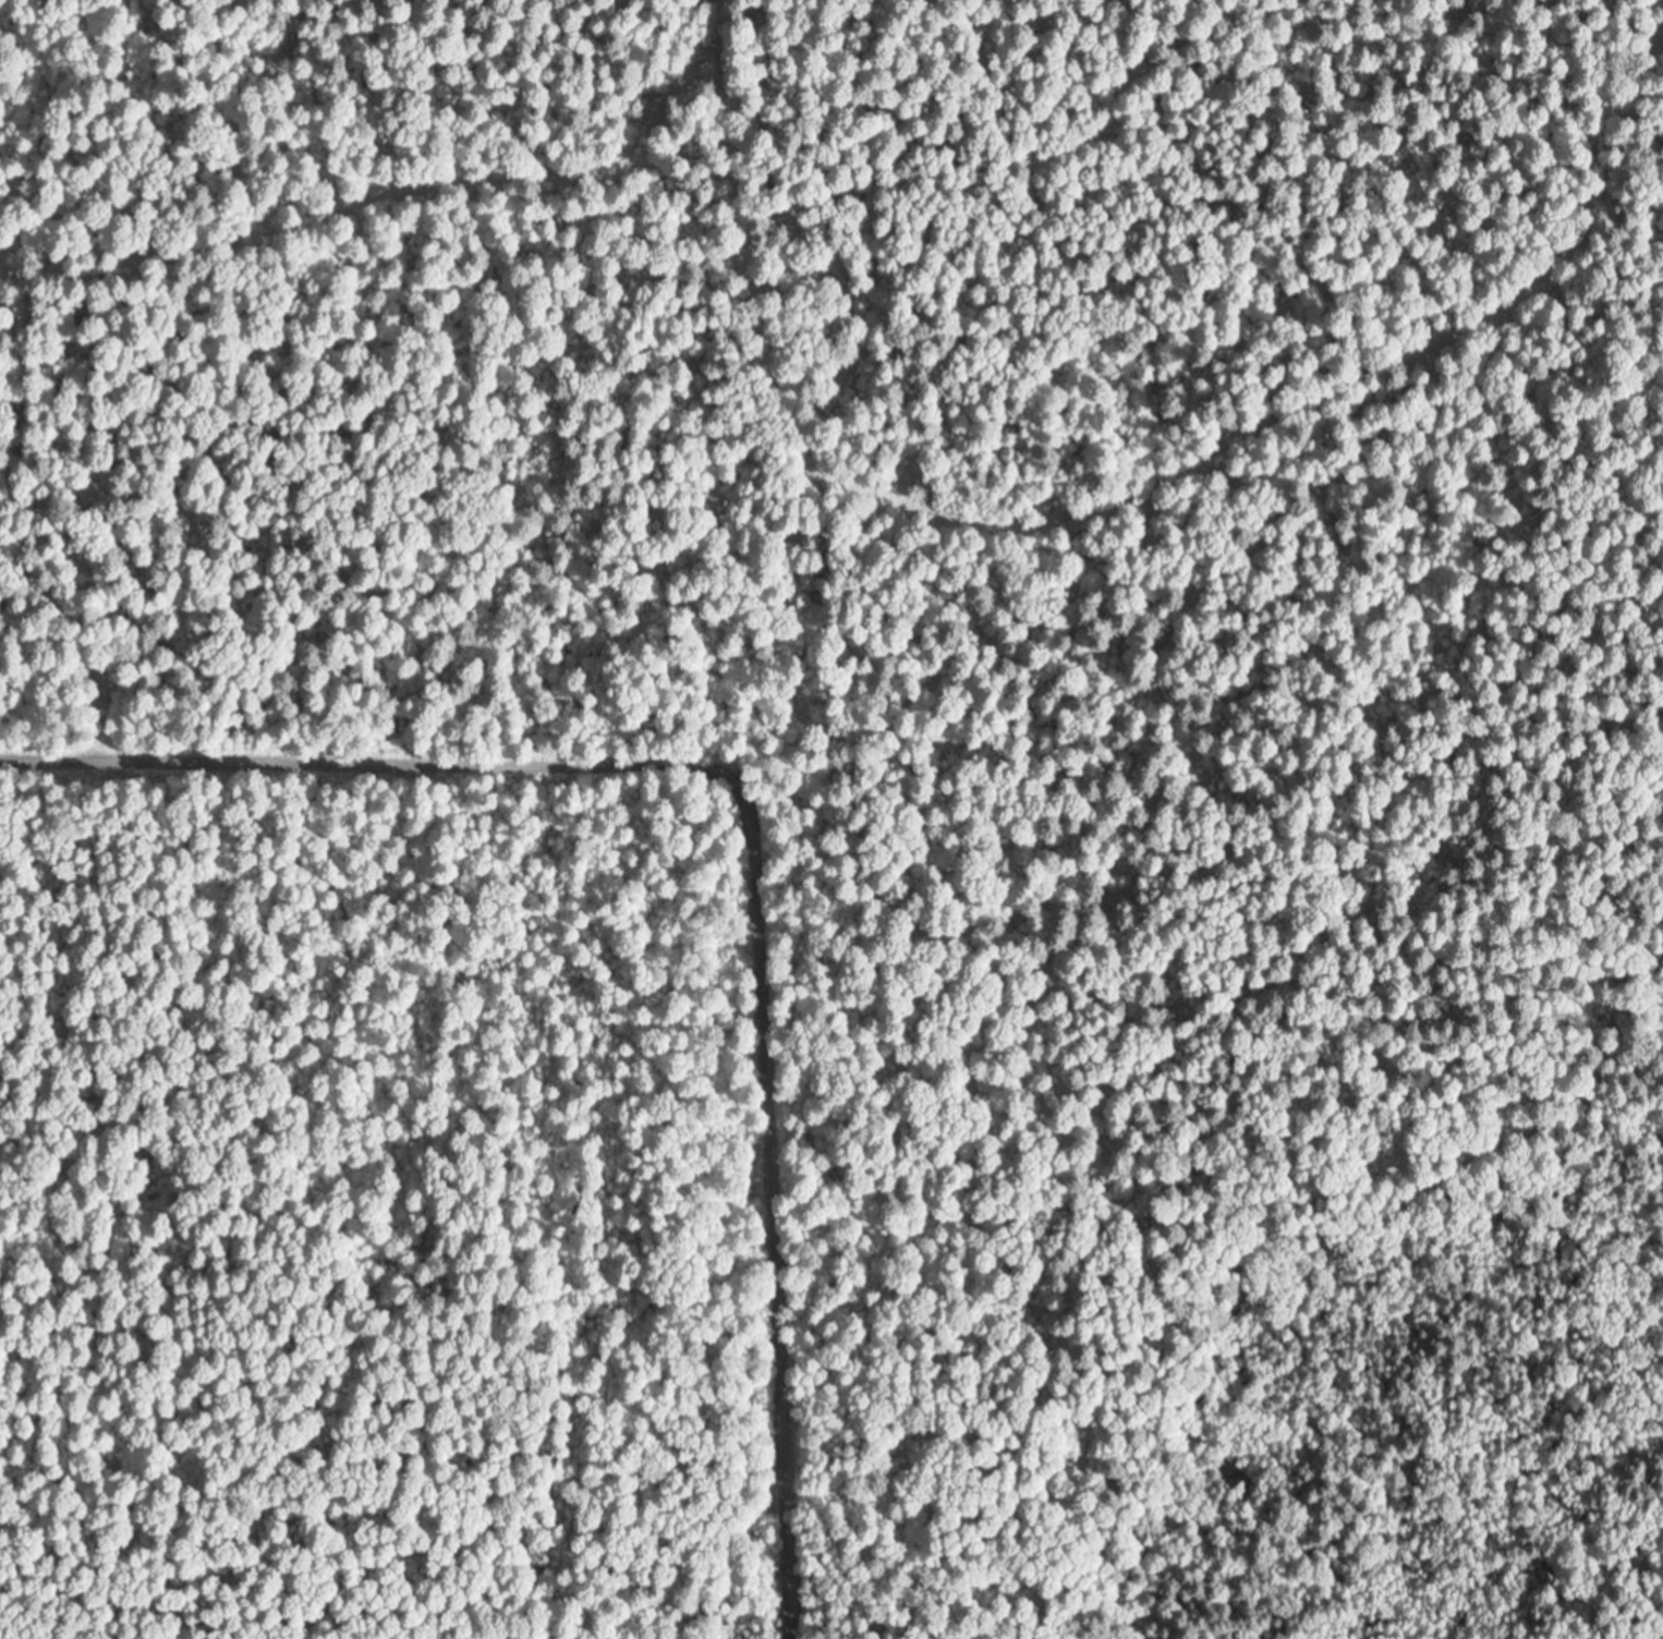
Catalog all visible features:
road: (742, 849)

